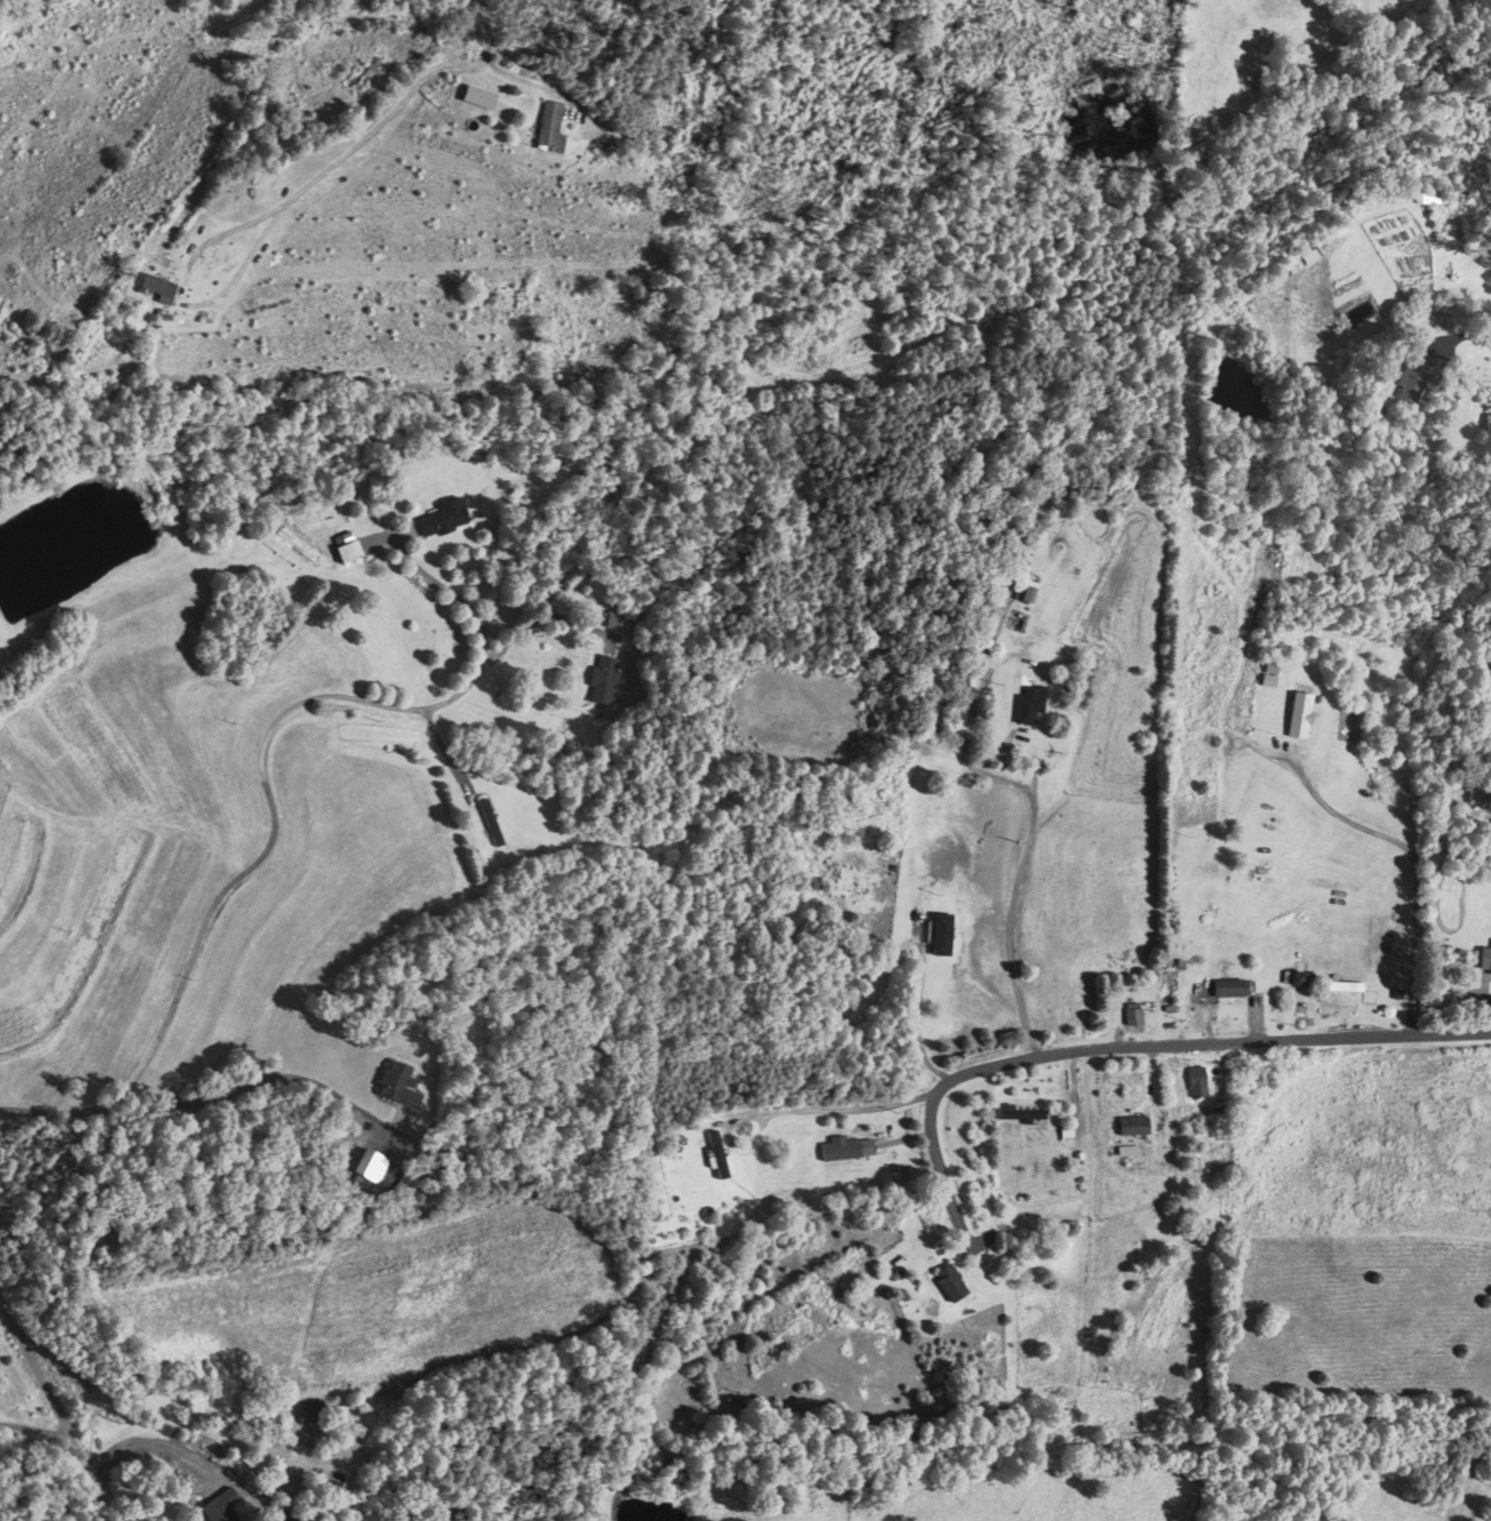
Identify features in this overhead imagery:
building: (361, 76)
building: (475, 98)
road: (463, 112)
building: (547, 129)
road: (356, 135)
building: (152, 287)
building: (1411, 377)
building: (1486, 424)
building: (441, 519)
building: (343, 548)
building: (1304, 557)
building: (1192, 592)
road: (543, 616)
building: (611, 620)
building: (1268, 674)
building: (600, 681)
building: (1026, 709)
building: (1298, 716)
road: (443, 749)
road: (268, 797)
building: (1478, 801)
building: (489, 823)
road: (1443, 845)
road: (1415, 862)
road: (1015, 898)
building: (940, 936)
building: (1484, 963)
building: (1296, 980)
building: (1227, 989)
building: (1335, 1009)
building: (1129, 1016)
road: (918, 1018)
road: (1330, 1036)
road: (968, 1071)
building: (1194, 1084)
building: (394, 1087)
road: (824, 1107)
building: (1019, 1117)
building: (1132, 1125)
building: (844, 1150)
building: (708, 1156)
building: (945, 1282)
road: (54, 1409)
building: (301, 1411)
building: (214, 1507)

